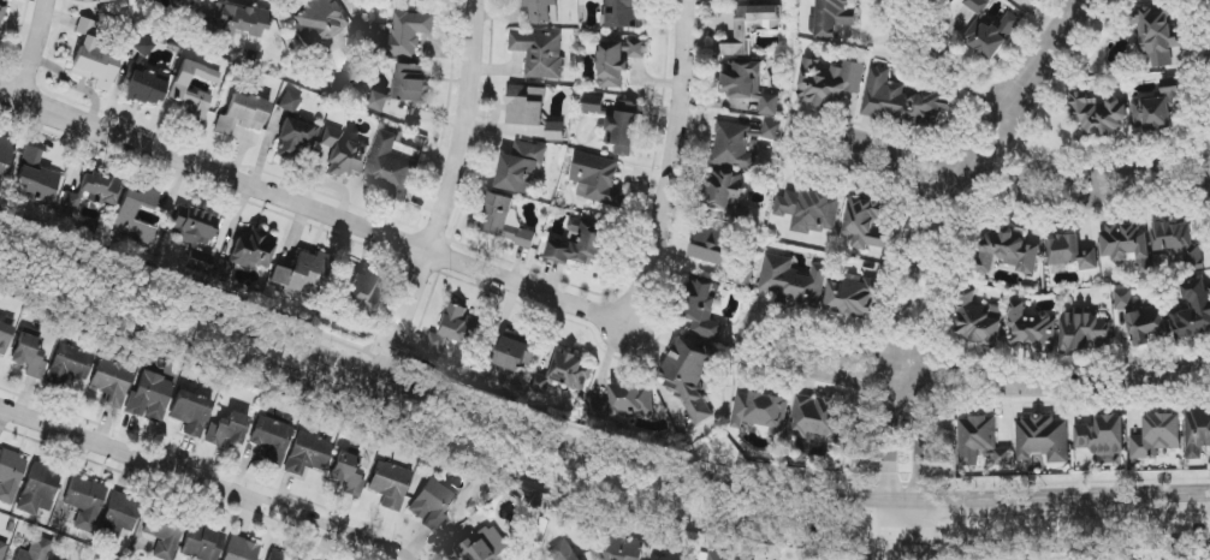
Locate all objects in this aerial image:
building: (393, 0)
building: (747, 0)
building: (932, 0)
building: (542, 11)
building: (1, 13)
building: (624, 13)
building: (832, 18)
building: (237, 20)
building: (318, 22)
building: (751, 28)
building: (990, 30)
building: (402, 35)
building: (1156, 35)
building: (141, 44)
road: (34, 49)
building: (540, 54)
building: (94, 56)
building: (618, 61)
road: (929, 67)
road: (1205, 72)
building: (830, 82)
building: (413, 83)
building: (748, 85)
building: (146, 87)
building: (180, 93)
building: (903, 101)
building: (290, 102)
building: (379, 102)
building: (594, 105)
building: (526, 106)
building: (1153, 111)
building: (242, 114)
building: (1097, 117)
building: (623, 129)
building: (556, 131)
building: (771, 131)
road: (808, 136)
building: (295, 138)
building: (734, 147)
building: (343, 154)
building: (5, 155)
road: (671, 163)
building: (390, 167)
building: (522, 168)
building: (35, 178)
building: (598, 179)
road: (1097, 184)
road: (1021, 185)
building: (93, 191)
building: (724, 191)
road: (314, 208)
building: (808, 210)
road: (440, 212)
building: (125, 215)
building: (868, 224)
road: (931, 226)
building: (195, 227)
building: (582, 244)
building: (711, 245)
building: (1127, 245)
building: (1178, 245)
building: (251, 249)
building: (1007, 252)
building: (1069, 254)
building: (223, 269)
building: (302, 274)
building: (791, 281)
building: (358, 291)
building: (853, 297)
building: (1123, 299)
building: (704, 308)
building: (1193, 311)
building: (977, 320)
building: (1146, 324)
building: (1031, 328)
building: (453, 330)
building: (1085, 332)
building: (5, 336)
building: (29, 356)
building: (515, 356)
building: (69, 364)
building: (564, 374)
building: (689, 376)
building: (112, 379)
road: (949, 380)
road: (1117, 383)
building: (150, 397)
building: (631, 399)
building: (597, 407)
building: (759, 411)
building: (191, 412)
building: (819, 419)
building: (227, 429)
building: (1197, 433)
building: (1101, 435)
building: (1156, 436)
building: (1042, 439)
building: (272, 440)
building: (980, 442)
road: (589, 446)
building: (308, 454)
building: (346, 472)
building: (10, 475)
road: (203, 481)
building: (390, 485)
building: (38, 488)
road: (588, 493)
building: (84, 502)
building: (433, 505)
building: (121, 512)
road: (901, 528)
building: (162, 536)
building: (202, 543)
building: (481, 544)
building: (624, 548)
building: (2, 549)
building: (36, 549)
building: (241, 549)
building: (560, 553)
building: (280, 556)
building: (718, 556)
building: (662, 558)
building: (737, 559)

